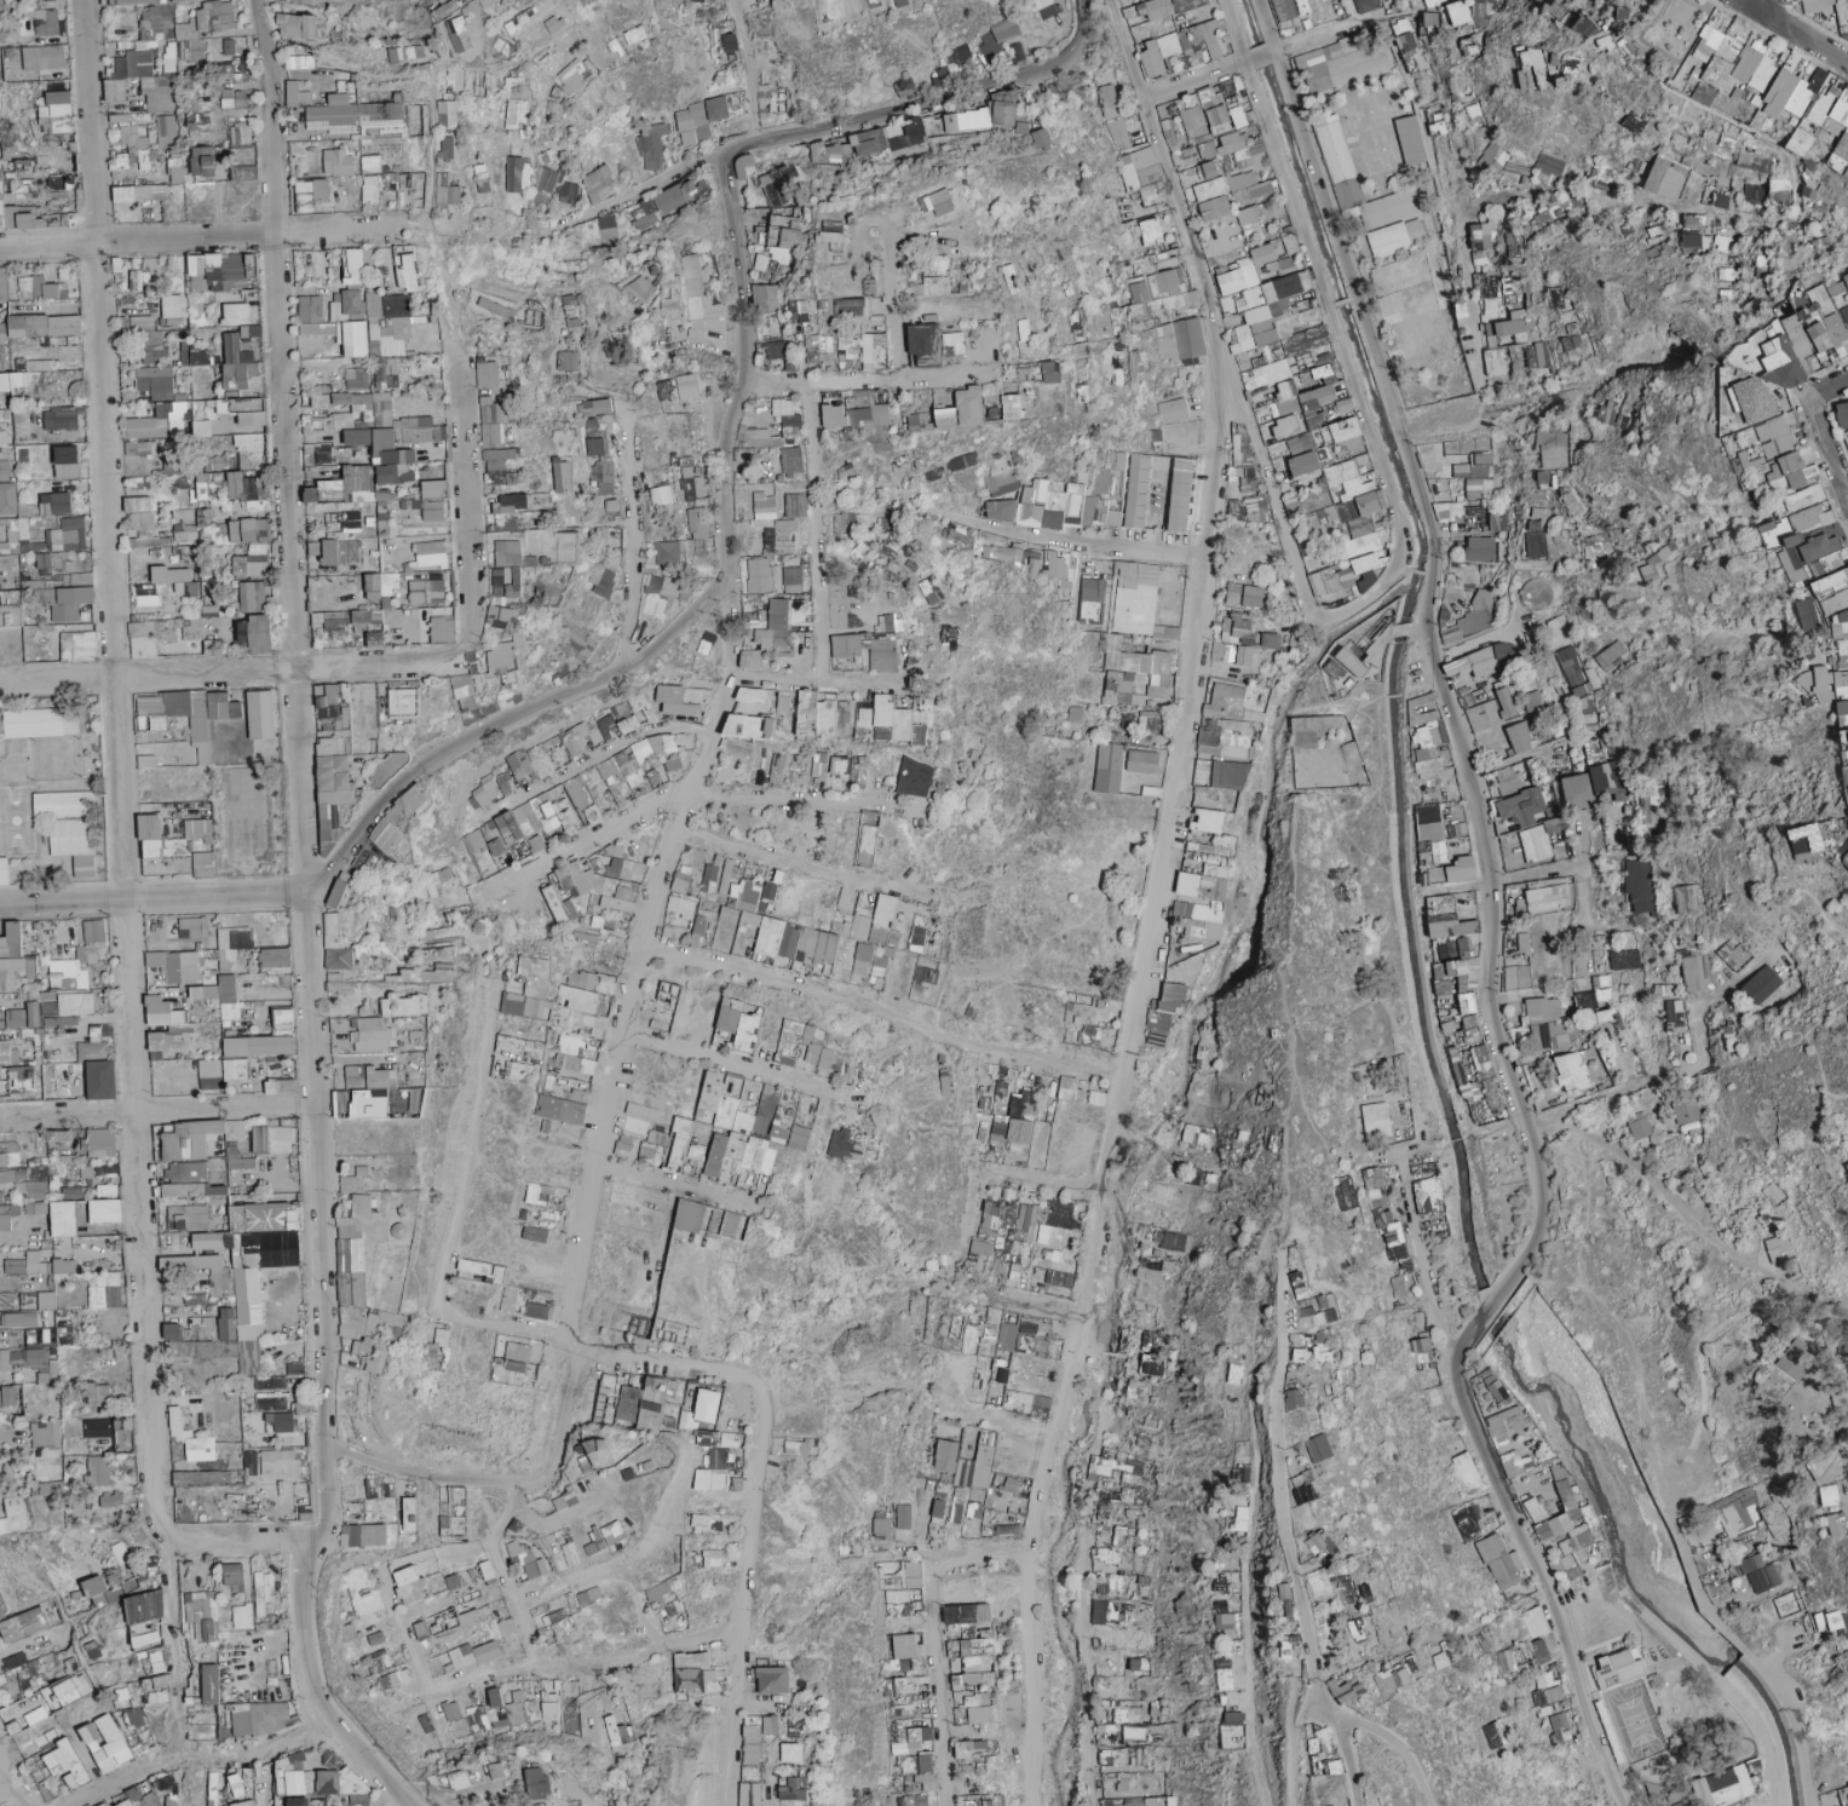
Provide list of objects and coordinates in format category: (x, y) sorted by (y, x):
park: (1640, 1724)
park: (1676, 1736)

